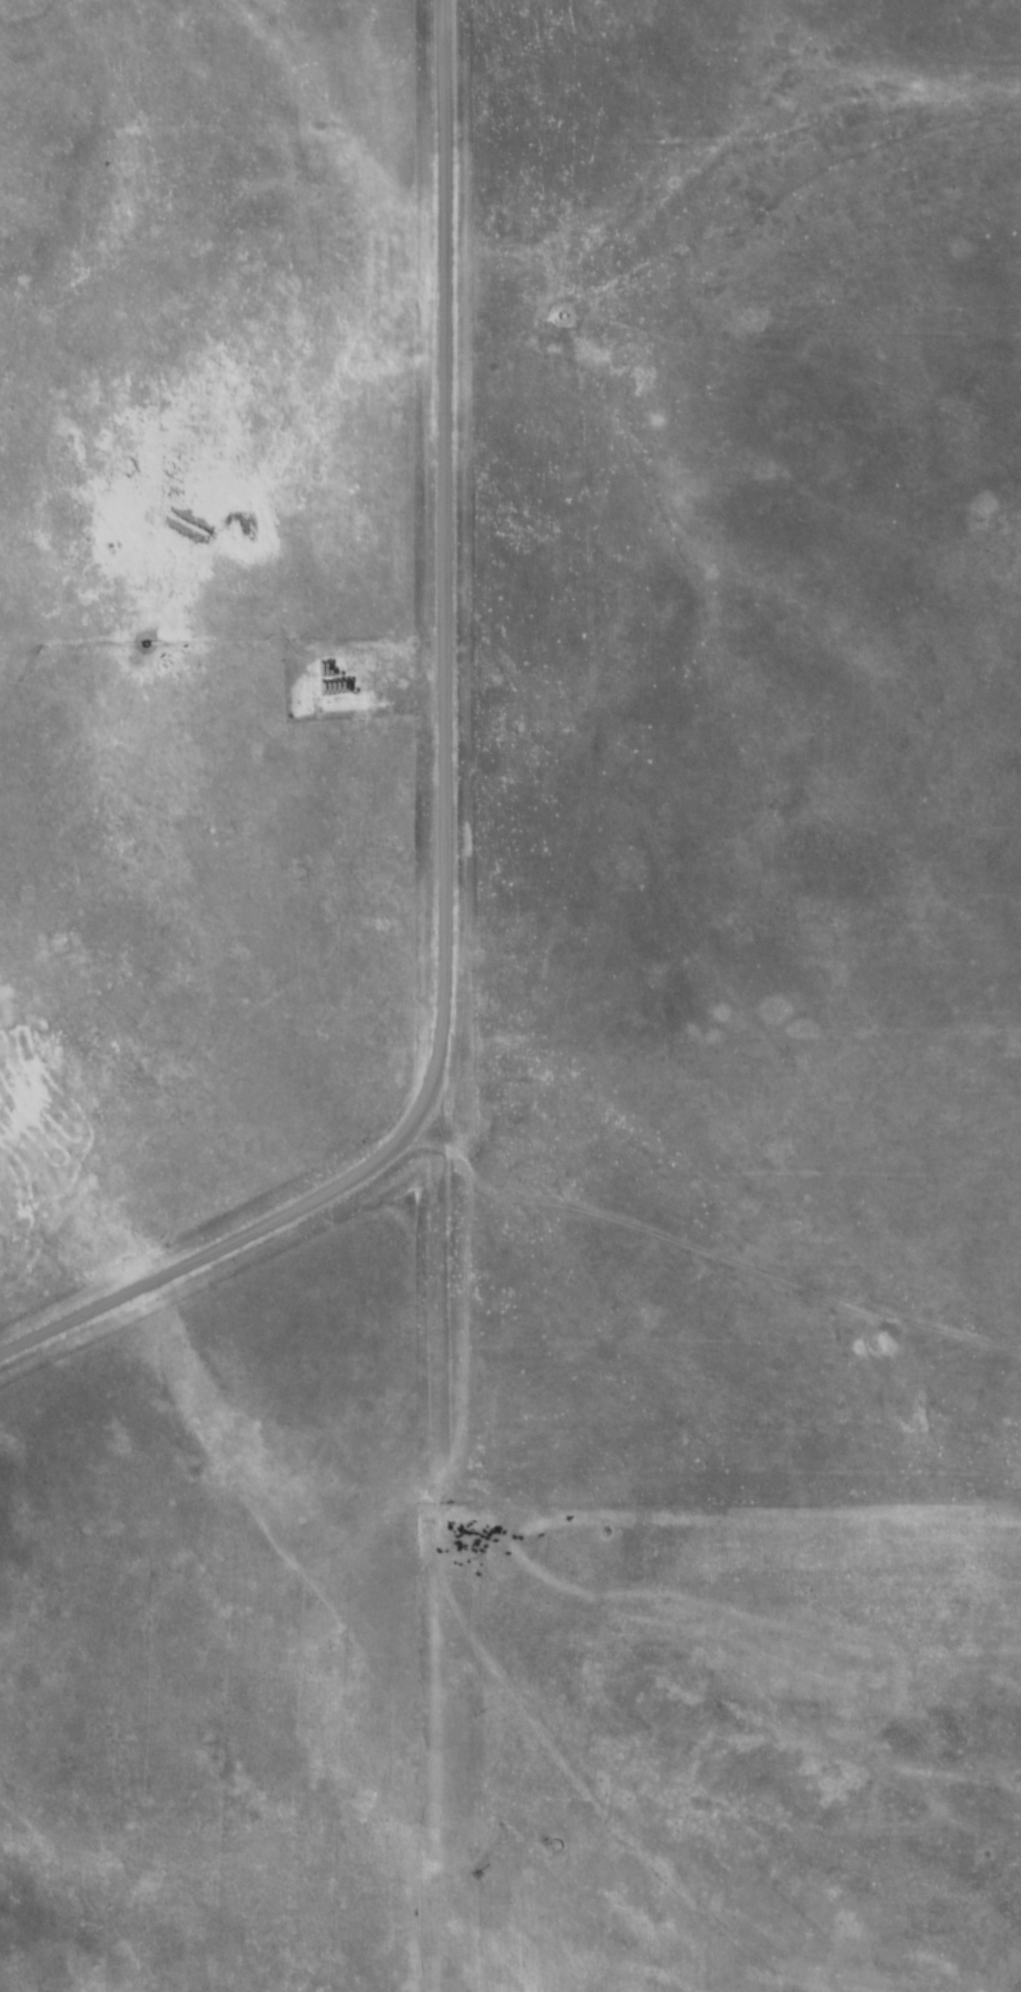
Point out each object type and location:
road: (450, 806)

